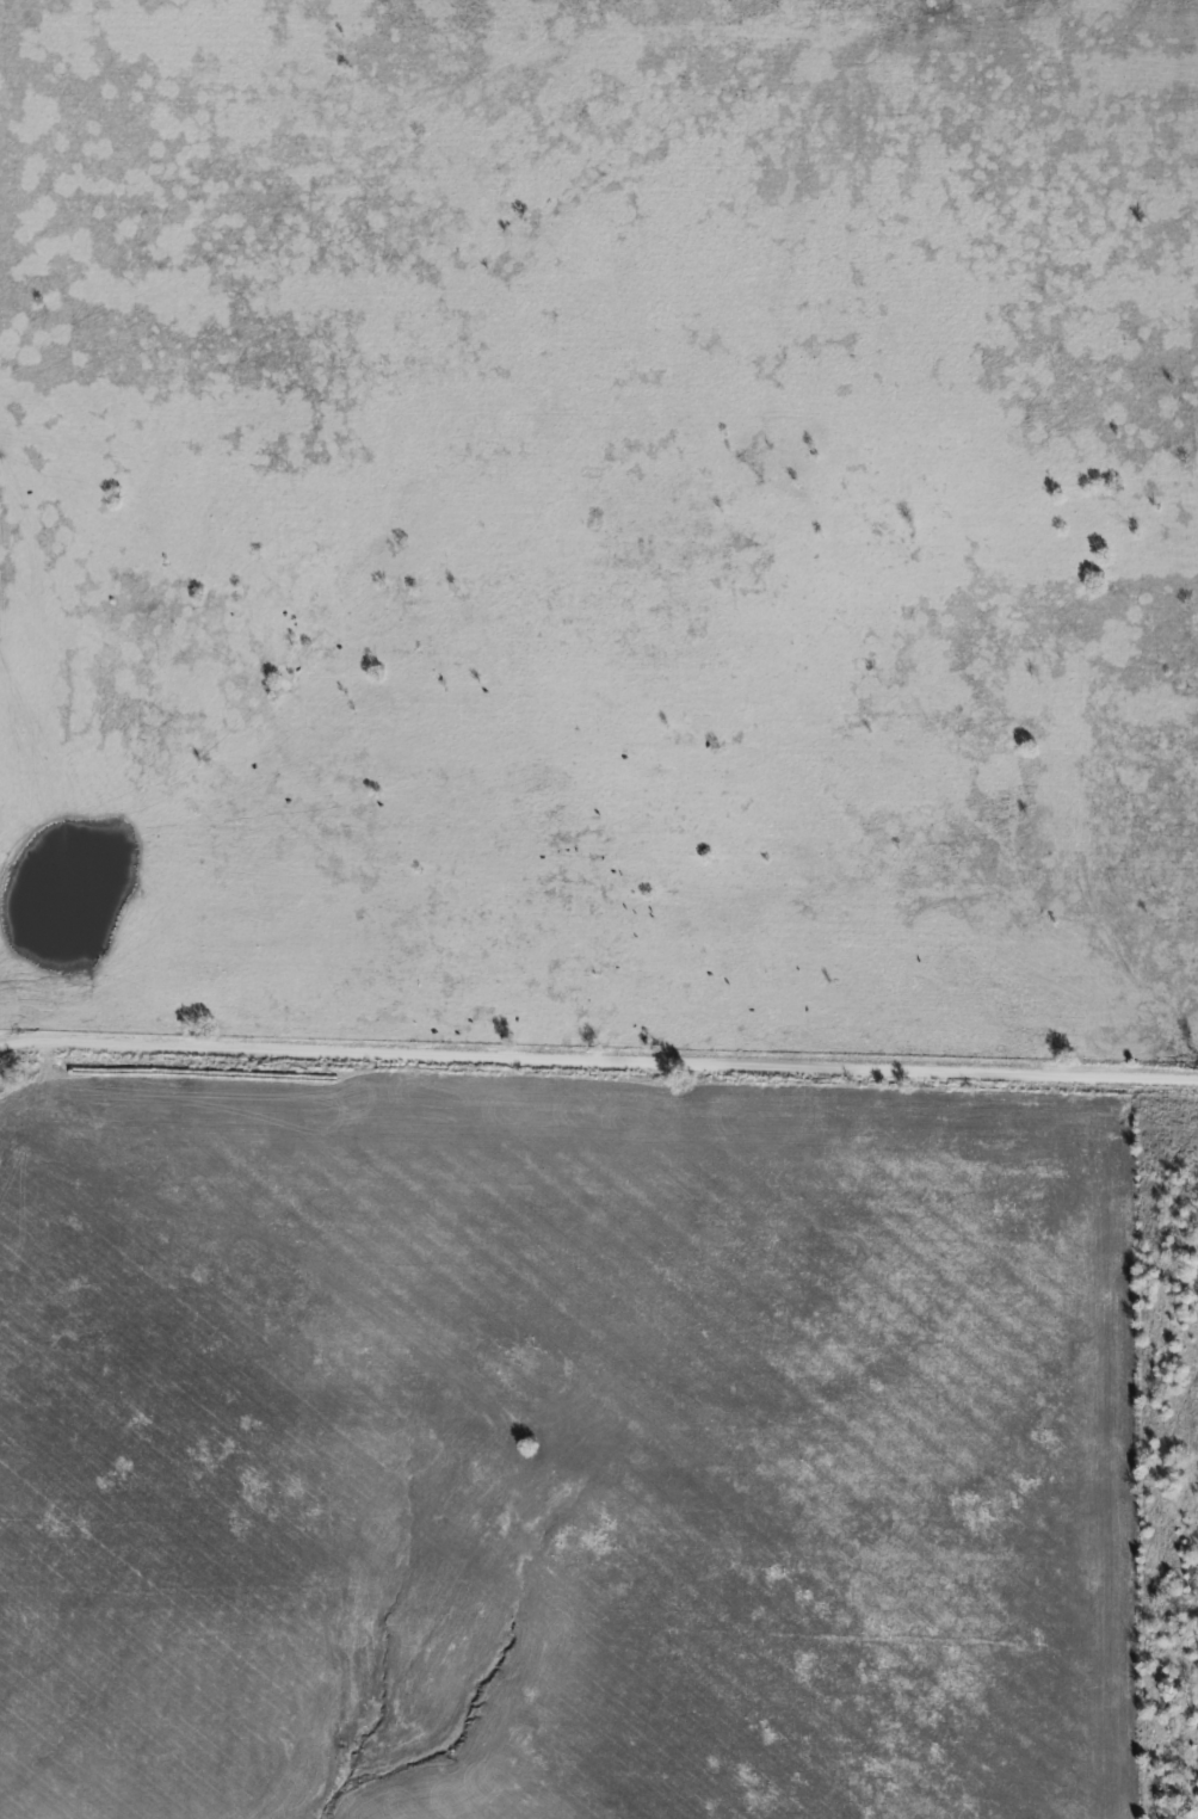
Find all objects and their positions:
road: (598, 1060)

